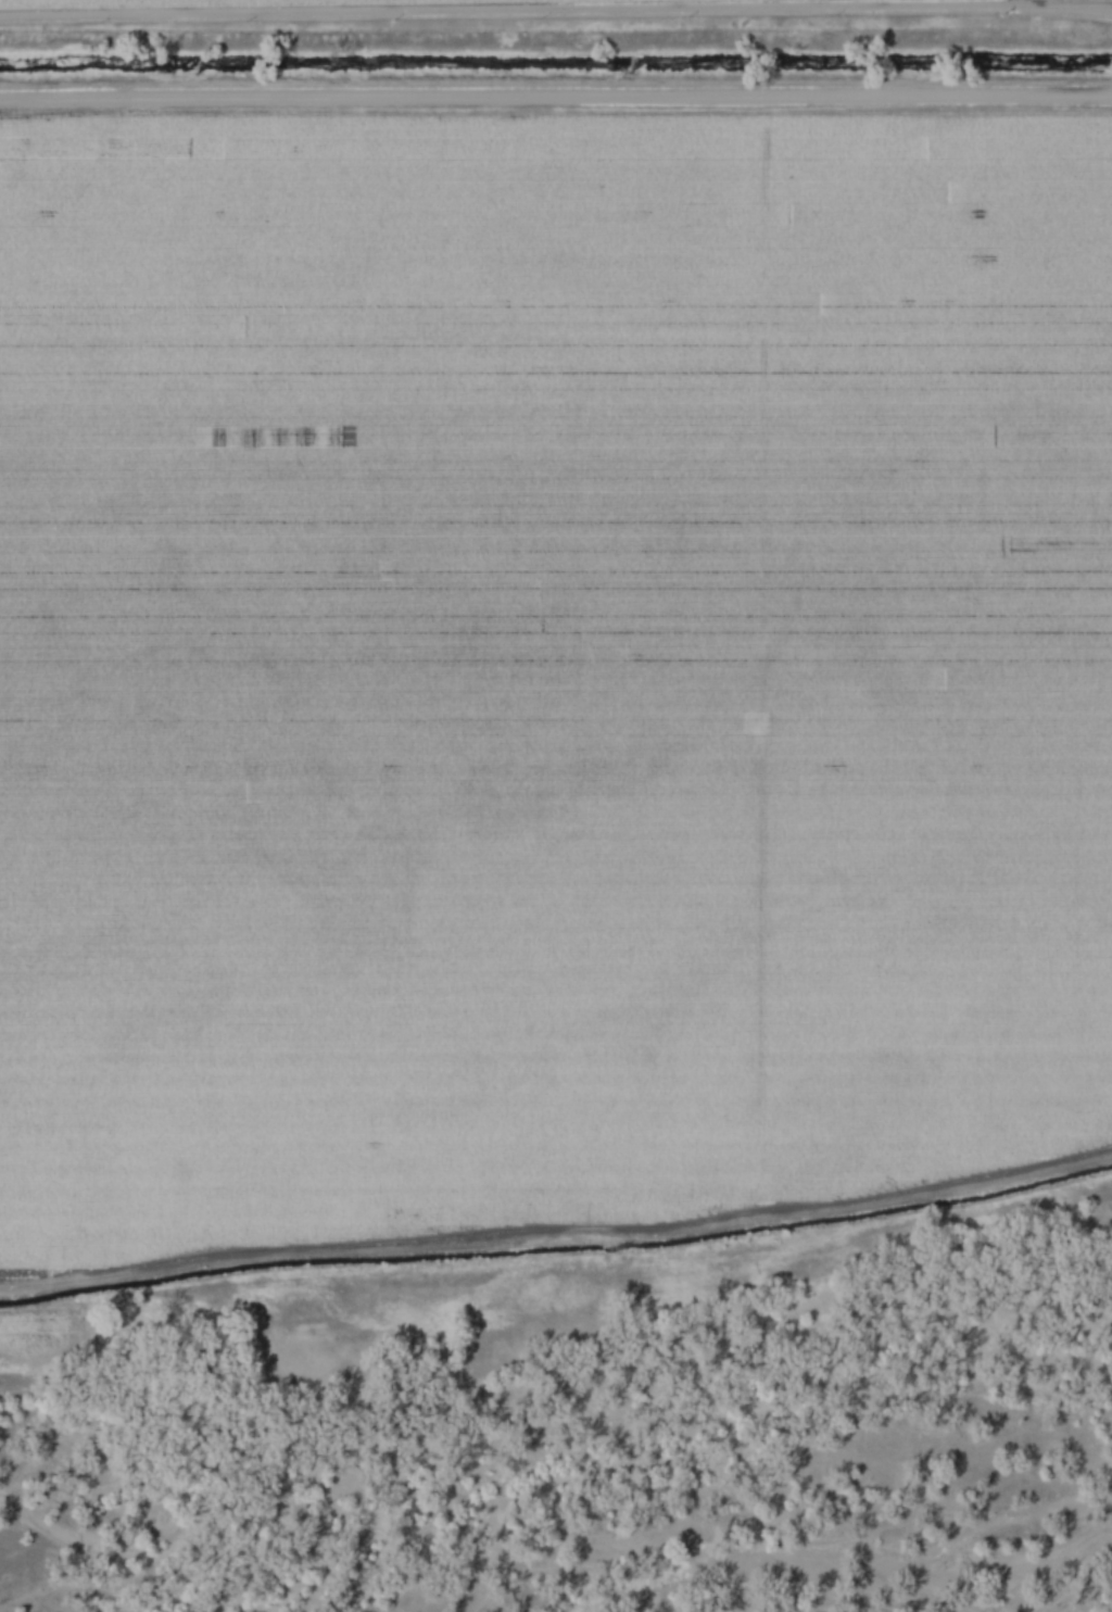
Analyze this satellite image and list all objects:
road: (556, 12)
road: (555, 97)

